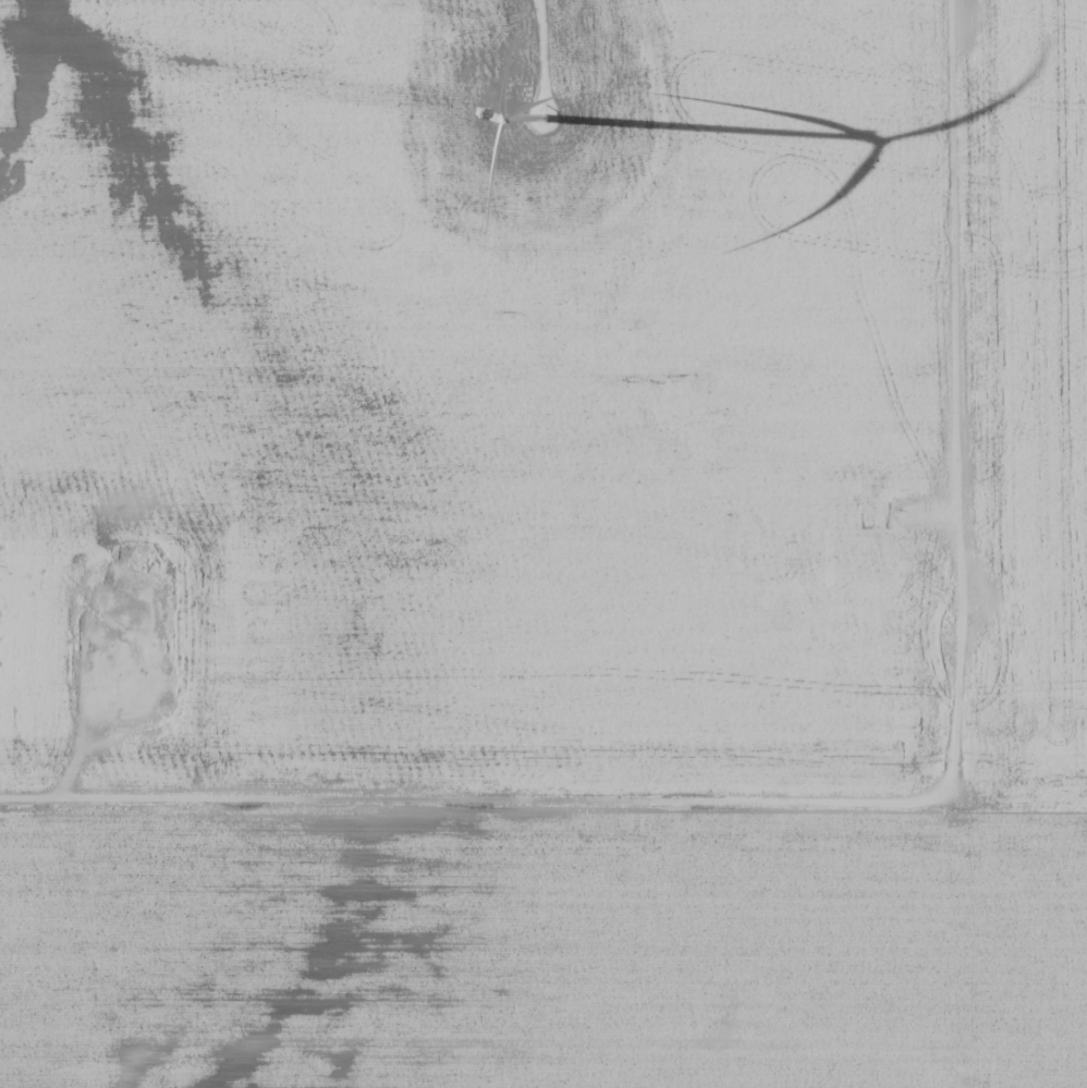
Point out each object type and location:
wind turbine: (547, 123)
road: (972, 394)
road: (483, 794)

